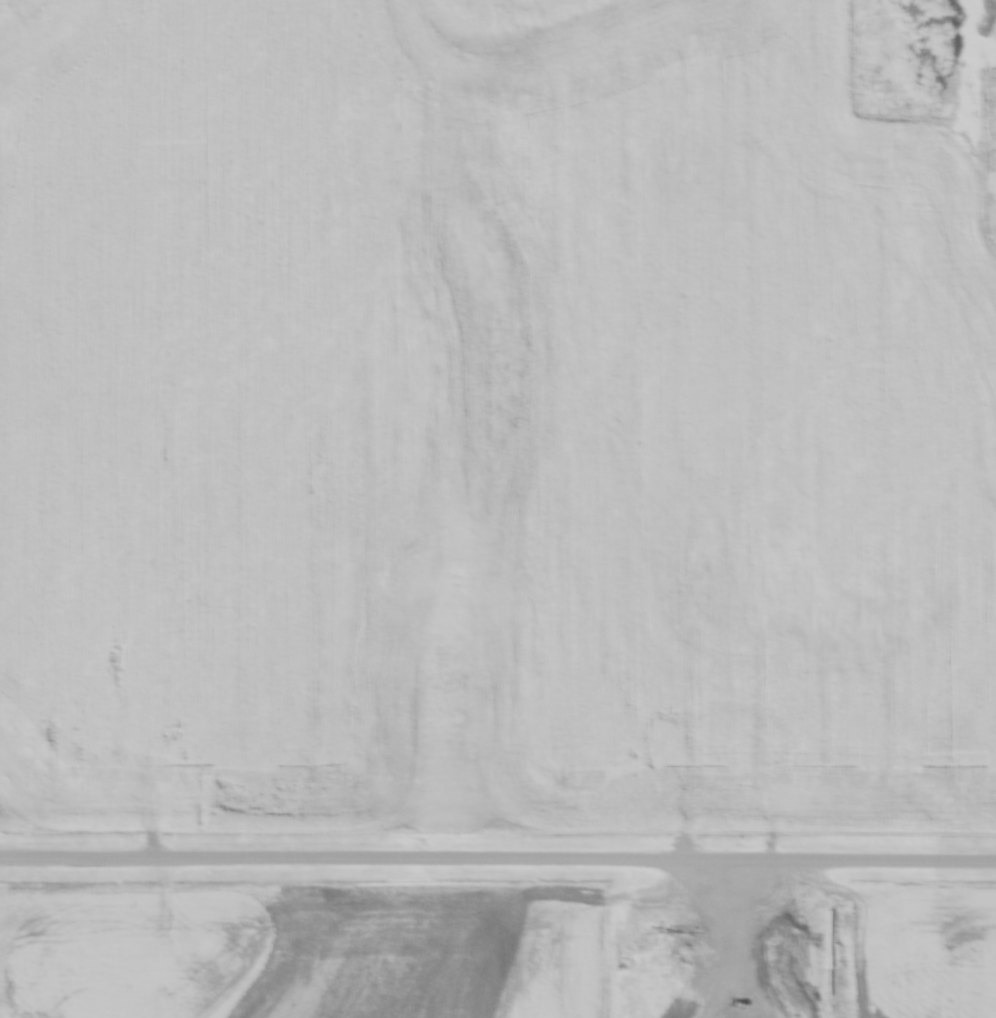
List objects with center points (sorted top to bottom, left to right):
road: (498, 855)

